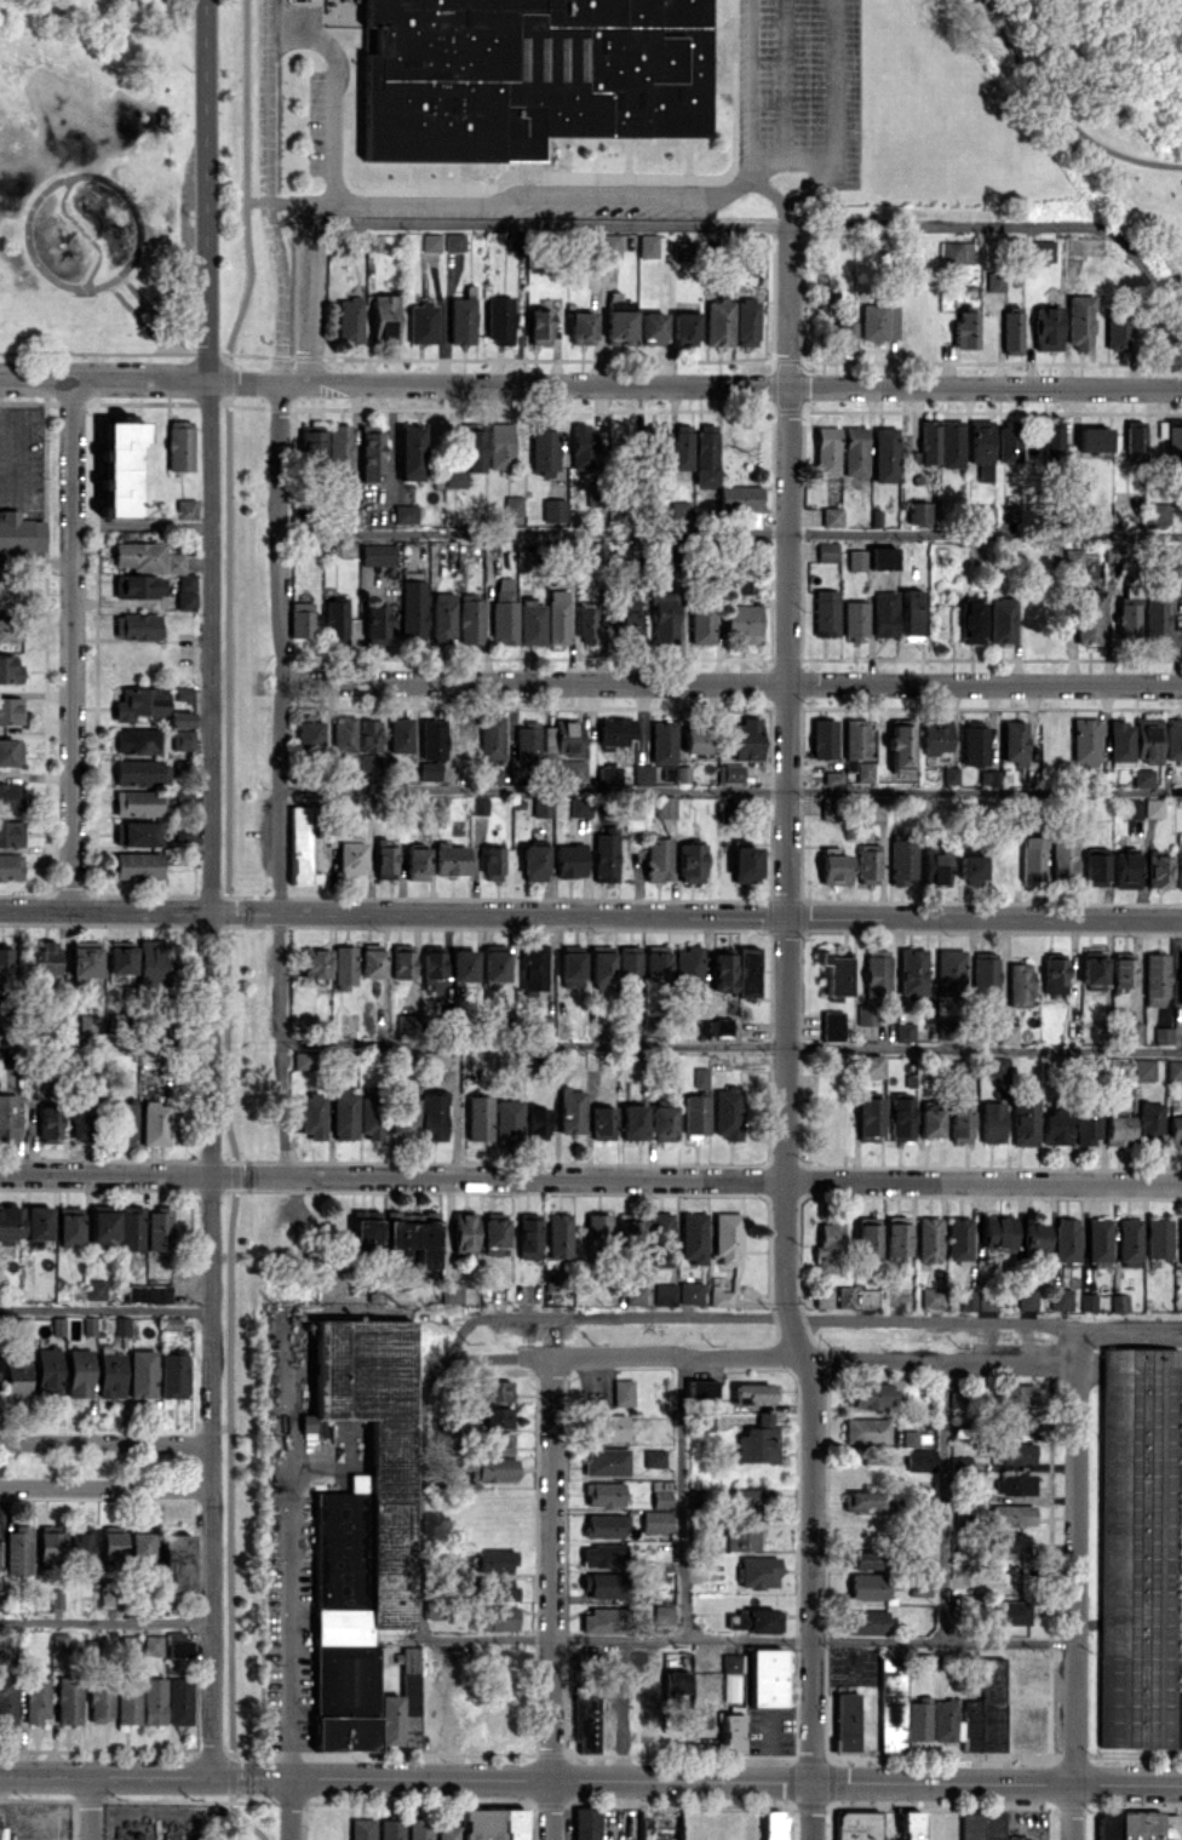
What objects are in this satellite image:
building: (527, 74)
road: (748, 76)
parking lot: (803, 88)
road: (1060, 113)
road: (831, 114)
road: (790, 154)
road: (246, 177)
park: (97, 180)
road: (767, 189)
road: (206, 191)
road: (444, 200)
road: (701, 224)
building: (453, 241)
building: (430, 242)
building: (609, 245)
building: (647, 246)
building: (1042, 250)
building: (682, 251)
building: (951, 251)
road: (1141, 268)
building: (994, 280)
building: (828, 297)
road: (311, 304)
building: (384, 317)
building: (461, 317)
building: (349, 319)
building: (499, 319)
building: (619, 319)
building: (421, 321)
building: (745, 321)
building: (878, 321)
building: (718, 322)
building: (1080, 322)
building: (538, 326)
building: (580, 326)
building: (652, 327)
building: (1046, 327)
building: (684, 328)
building: (965, 328)
building: (1117, 331)
building: (1011, 332)
building: (843, 334)
road: (228, 376)
road: (138, 382)
road: (729, 385)
building: (1174, 436)
building: (1051, 440)
building: (655, 441)
building: (929, 441)
building: (1008, 441)
building: (1092, 441)
building: (1132, 442)
building: (951, 443)
building: (179, 445)
building: (500, 445)
building: (583, 446)
building: (681, 446)
building: (854, 446)
building: (311, 447)
building: (339, 447)
building: (980, 447)
building: (369, 448)
building: (544, 449)
building: (825, 449)
building: (465, 452)
building: (411, 453)
building: (884, 453)
building: (705, 455)
building: (120, 466)
building: (741, 501)
building: (185, 508)
building: (553, 509)
building: (918, 511)
building: (404, 514)
building: (982, 515)
building: (1158, 515)
building: (350, 516)
building: (831, 516)
road: (139, 523)
road: (730, 532)
building: (19, 533)
building: (597, 551)
building: (826, 551)
building: (377, 554)
building: (882, 557)
building: (1072, 557)
building: (855, 560)
road: (35, 562)
building: (157, 566)
building: (736, 585)
building: (7, 594)
building: (412, 609)
building: (504, 612)
building: (911, 612)
building: (825, 613)
building: (883, 613)
building: (557, 617)
building: (664, 617)
building: (1088, 617)
building: (443, 618)
building: (470, 618)
building: (627, 618)
building: (1155, 618)
building: (300, 619)
building: (854, 619)
building: (1002, 620)
building: (335, 621)
building: (532, 621)
building: (742, 621)
building: (377, 623)
building: (587, 623)
building: (970, 623)
building: (701, 624)
building: (136, 627)
building: (10, 629)
road: (71, 647)
building: (10, 670)
road: (730, 682)
building: (185, 693)
building: (139, 703)
building: (10, 710)
building: (179, 718)
building: (616, 730)
building: (309, 734)
building: (400, 734)
building: (343, 735)
building: (369, 735)
building: (490, 736)
building: (562, 736)
building: (934, 736)
building: (824, 738)
building: (855, 738)
building: (182, 739)
building: (745, 739)
building: (1147, 739)
building: (1172, 739)
building: (136, 740)
building: (527, 740)
building: (695, 740)
building: (1084, 740)
building: (1120, 740)
building: (662, 741)
building: (1014, 741)
building: (974, 743)
building: (899, 745)
building: (431, 749)
building: (10, 751)
building: (570, 769)
building: (137, 772)
building: (865, 772)
building: (730, 773)
building: (607, 774)
building: (642, 774)
building: (493, 775)
building: (832, 776)
building: (988, 776)
road: (280, 778)
building: (1142, 778)
road: (730, 787)
building: (10, 796)
building: (180, 798)
building: (137, 802)
building: (478, 804)
building: (541, 807)
building: (579, 807)
building: (666, 807)
building: (728, 807)
building: (1152, 807)
building: (1131, 808)
building: (11, 832)
building: (136, 833)
building: (300, 847)
building: (606, 853)
building: (348, 854)
building: (384, 858)
building: (1031, 858)
building: (658, 859)
building: (449, 860)
building: (568, 860)
building: (901, 860)
building: (534, 861)
building: (690, 861)
building: (1065, 861)
building: (415, 862)
building: (492, 862)
building: (744, 862)
building: (867, 862)
building: (137, 865)
building: (10, 866)
building: (934, 866)
building: (970, 867)
building: (834, 869)
building: (1095, 869)
building: (1125, 870)
building: (1158, 870)
building: (1178, 877)
road: (590, 916)
railway: (247, 919)
building: (120, 956)
building: (44, 957)
building: (84, 958)
building: (151, 959)
building: (402, 961)
building: (5, 962)
building: (371, 962)
building: (432, 962)
building: (494, 962)
building: (316, 963)
building: (655, 963)
building: (463, 964)
building: (601, 964)
building: (570, 965)
building: (689, 965)
building: (344, 967)
building: (1092, 967)
building: (533, 968)
building: (630, 968)
building: (1121, 970)
building: (722, 971)
building: (747, 971)
building: (949, 971)
building: (911, 973)
building: (983, 974)
building: (836, 975)
building: (1052, 975)
building: (1155, 979)
building: (1180, 979)
building: (1019, 984)
building: (873, 985)
building: (0, 1010)
building: (87, 1022)
building: (407, 1024)
building: (541, 1025)
building: (832, 1025)
building: (715, 1027)
building: (903, 1031)
building: (1131, 1032)
road: (785, 1034)
building: (1006, 1034)
building: (1161, 1036)
road: (105, 1038)
road: (730, 1044)
building: (994, 1065)
building: (868, 1066)
building: (1143, 1068)
building: (1174, 1070)
building: (699, 1077)
road: (210, 1079)
building: (572, 1110)
building: (371, 1112)
building: (728, 1112)
building: (695, 1113)
building: (84, 1114)
building: (312, 1114)
building: (344, 1114)
building: (432, 1116)
building: (478, 1117)
building: (7, 1118)
building: (868, 1118)
building: (507, 1119)
building: (900, 1119)
building: (929, 1120)
building: (1023, 1120)
building: (1149, 1120)
building: (535, 1122)
building: (602, 1122)
building: (632, 1122)
building: (991, 1122)
building: (124, 1123)
building: (154, 1123)
building: (662, 1123)
building: (48, 1124)
building: (959, 1125)
building: (1055, 1125)
building: (1085, 1127)
road: (228, 1129)
building: (1117, 1130)
building: (1174, 1130)
road: (591, 1177)
building: (38, 1222)
building: (10, 1223)
building: (68, 1225)
building: (103, 1225)
building: (132, 1227)
building: (159, 1229)
building: (365, 1229)
building: (464, 1231)
building: (598, 1231)
building: (997, 1232)
building: (495, 1233)
building: (650, 1233)
building: (558, 1234)
building: (528, 1236)
building: (895, 1236)
building: (1033, 1236)
building: (727, 1237)
building: (693, 1238)
building: (866, 1238)
building: (960, 1238)
building: (1158, 1238)
building: (411, 1239)
building: (928, 1239)
building: (1066, 1239)
building: (1180, 1239)
building: (1097, 1242)
building: (1129, 1242)
building: (828, 1245)
building: (0, 1280)
building: (553, 1280)
building: (94, 1289)
building: (148, 1292)
building: (452, 1292)
building: (690, 1292)
building: (635, 1294)
building: (665, 1294)
building: (719, 1296)
building: (844, 1296)
building: (931, 1297)
building: (822, 1299)
building: (1026, 1299)
building: (1060, 1299)
building: (976, 1300)
building: (1088, 1301)
building: (1118, 1302)
road: (105, 1309)
road: (782, 1317)
road: (1129, 1324)
building: (57, 1325)
building: (88, 1325)
building: (121, 1325)
building: (23, 1328)
road: (459, 1330)
road: (761, 1357)
building: (16, 1372)
building: (79, 1372)
building: (110, 1374)
building: (142, 1374)
building: (173, 1375)
building: (701, 1389)
building: (494, 1391)
building: (622, 1392)
building: (754, 1392)
building: (867, 1394)
building: (1016, 1394)
building: (957, 1398)
building: (494, 1416)
building: (704, 1421)
building: (1020, 1421)
building: (607, 1427)
building: (866, 1429)
road: (105, 1440)
building: (757, 1441)
building: (499, 1443)
building: (1015, 1454)
building: (654, 1457)
building: (920, 1458)
building: (606, 1461)
building: (959, 1464)
building: (489, 1467)
building: (365, 1480)
building: (1014, 1484)
road: (105, 1488)
road: (421, 1494)
building: (603, 1494)
building: (660, 1494)
road: (684, 1498)
building: (696, 1498)
building: (751, 1498)
building: (867, 1500)
road: (941, 1501)
building: (1011, 1514)
building: (655, 1521)
building: (602, 1525)
building: (741, 1540)
building: (111, 1541)
building: (50, 1543)
building: (1011, 1543)
building: (81, 1544)
building: (139, 1544)
building: (18, 1549)
building: (1140, 1549)
building: (603, 1555)
road: (288, 1557)
building: (866, 1559)
building: (177, 1560)
building: (495, 1560)
building: (758, 1571)
road: (1074, 1582)
building: (919, 1584)
building: (867, 1586)
building: (500, 1588)
building: (108, 1597)
building: (56, 1598)
road: (551, 1598)
building: (1009, 1612)
building: (661, 1613)
building: (494, 1617)
building: (603, 1620)
building: (754, 1620)
road: (105, 1621)
building: (865, 1621)
road: (739, 1640)
building: (59, 1641)
building: (126, 1643)
building: (151, 1644)
building: (178, 1644)
building: (731, 1663)
building: (765, 1676)
building: (675, 1681)
building: (344, 1696)
building: (7, 1698)
building: (36, 1698)
building: (68, 1699)
building: (153, 1699)
building: (98, 1701)
building: (179, 1701)
building: (127, 1702)
building: (402, 1706)
building: (891, 1706)
building: (986, 1710)
building: (943, 1719)
building: (848, 1720)
building: (917, 1721)
building: (585, 1723)
building: (731, 1733)
road: (105, 1775)
road: (695, 1781)
road: (90, 1807)
road: (289, 1809)
building: (493, 1823)
building: (585, 1823)
building: (659, 1824)
building: (775, 1824)
building: (910, 1824)
building: (857, 1825)
building: (971, 1825)
building: (994, 1825)
building: (1138, 1825)
building: (362, 1828)
building: (419, 1828)
building: (390, 1829)
building: (448, 1832)
building: (1016, 1836)

